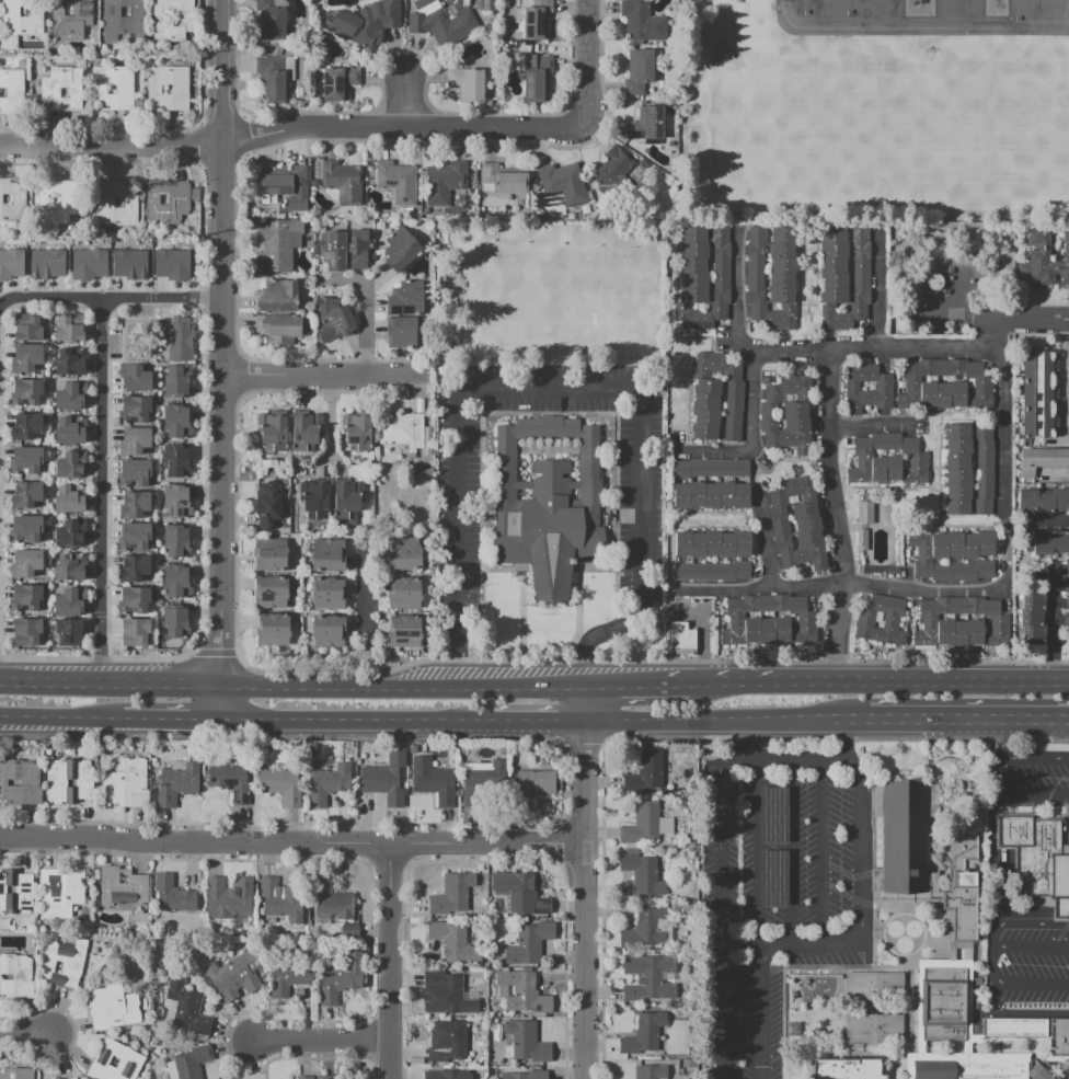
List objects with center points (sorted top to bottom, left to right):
park: (1031, 0)
building: (391, 5)
building: (423, 5)
park: (825, 13)
building: (71, 18)
park: (1041, 19)
building: (19, 20)
building: (272, 20)
building: (123, 21)
building: (173, 21)
building: (538, 21)
building: (642, 22)
building: (447, 26)
building: (366, 27)
road: (915, 28)
road: (589, 61)
building: (640, 72)
building: (538, 78)
building: (272, 79)
building: (340, 83)
building: (469, 84)
building: (114, 88)
building: (170, 89)
building: (62, 91)
building: (12, 93)
road: (404, 101)
park: (869, 117)
building: (648, 125)
road: (290, 130)
park: (966, 142)
building: (618, 171)
building: (395, 181)
building: (505, 181)
building: (281, 183)
building: (343, 183)
building: (446, 183)
building: (564, 183)
building: (11, 199)
building: (58, 200)
building: (169, 203)
building: (116, 206)
building: (276, 244)
building: (358, 249)
building: (331, 250)
building: (399, 251)
building: (1042, 260)
building: (11, 263)
building: (46, 264)
building: (88, 264)
building: (129, 264)
building: (171, 264)
building: (771, 275)
building: (703, 276)
building: (844, 276)
building: (276, 295)
road: (108, 298)
building: (405, 300)
road: (367, 315)
road: (1030, 319)
building: (337, 322)
building: (277, 325)
building: (27, 330)
building: (67, 330)
building: (403, 333)
building: (128, 336)
building: (177, 338)
road: (219, 342)
road: (746, 345)
road: (790, 353)
building: (25, 357)
building: (69, 361)
road: (318, 375)
road: (1062, 378)
building: (136, 379)
building: (174, 382)
building: (883, 384)
building: (943, 384)
road: (540, 386)
building: (26, 391)
building: (716, 394)
building: (1036, 394)
building: (69, 395)
building: (136, 409)
building: (785, 414)
road: (331, 423)
building: (27, 424)
building: (175, 424)
road: (828, 424)
road: (867, 425)
road: (1003, 425)
building: (69, 431)
building: (402, 431)
building: (302, 433)
building: (274, 434)
building: (357, 434)
building: (135, 441)
road: (719, 452)
building: (25, 459)
road: (337, 459)
building: (887, 459)
building: (1042, 459)
building: (174, 461)
building: (68, 464)
building: (711, 467)
building: (957, 469)
building: (984, 469)
building: (136, 472)
building: (419, 477)
road: (100, 489)
building: (294, 490)
building: (25, 494)
building: (711, 495)
building: (68, 500)
building: (315, 501)
building: (345, 501)
building: (265, 502)
building: (1043, 502)
building: (176, 503)
building: (138, 505)
building: (547, 506)
parking lot: (640, 506)
building: (864, 513)
road: (1045, 520)
building: (795, 521)
building: (25, 528)
building: (283, 530)
building: (68, 533)
building: (137, 535)
building: (292, 539)
road: (766, 539)
building: (862, 539)
building: (1050, 542)
building: (175, 543)
building: (712, 544)
building: (403, 554)
building: (951, 554)
building: (327, 556)
building: (272, 559)
building: (25, 563)
building: (69, 567)
building: (135, 567)
building: (710, 571)
road: (843, 581)
building: (175, 583)
building: (273, 593)
building: (406, 593)
building: (326, 594)
building: (26, 596)
building: (134, 600)
building: (1068, 601)
building: (68, 602)
road: (368, 604)
building: (1032, 619)
building: (767, 620)
building: (878, 620)
building: (174, 622)
building: (959, 622)
road: (1053, 624)
building: (273, 630)
building: (25, 631)
building: (327, 631)
building: (67, 632)
building: (135, 632)
road: (596, 632)
building: (407, 633)
building: (682, 635)
road: (458, 647)
road: (359, 668)
road: (376, 669)
road: (110, 681)
road: (786, 681)
road: (953, 681)
road: (717, 682)
road: (643, 684)
road: (286, 685)
road: (521, 685)
road: (404, 686)
road: (220, 704)
road: (67, 722)
road: (958, 723)
road: (176, 724)
road: (287, 724)
road: (418, 724)
road: (533, 724)
road: (715, 724)
road: (996, 739)
road: (744, 742)
road: (848, 742)
road: (781, 760)
road: (584, 764)
building: (645, 772)
road: (997, 776)
building: (181, 779)
building: (68, 781)
building: (230, 781)
building: (481, 781)
building: (19, 782)
building: (125, 783)
building: (329, 783)
building: (435, 783)
building: (382, 784)
building: (532, 785)
building: (281, 787)
building: (772, 815)
building: (643, 824)
road: (195, 842)
road: (487, 843)
building: (904, 843)
building: (632, 850)
road: (820, 851)
road: (756, 852)
road: (790, 852)
building: (1037, 859)
building: (642, 873)
building: (772, 877)
building: (963, 884)
building: (123, 885)
building: (60, 886)
building: (15, 891)
building: (451, 894)
building: (520, 894)
parking lot: (772, 894)
building: (172, 895)
building: (227, 898)
building: (278, 899)
building: (332, 900)
road: (717, 919)
road: (859, 920)
road: (1023, 923)
building: (651, 927)
building: (349, 930)
building: (508, 937)
building: (452, 941)
building: (528, 943)
road: (1030, 943)
building: (497, 952)
building: (65, 960)
road: (392, 961)
road: (585, 961)
building: (15, 975)
building: (233, 975)
building: (646, 976)
building: (288, 977)
building: (341, 977)
road: (1012, 983)
building: (873, 987)
building: (447, 990)
building: (520, 991)
building: (943, 1001)
building: (185, 1005)
building: (171, 1006)
building: (113, 1009)
road: (759, 1012)
road: (25, 1031)
building: (496, 1031)
building: (875, 1031)
building: (1028, 1032)
building: (643, 1033)
road: (320, 1038)
building: (527, 1042)
building: (449, 1043)
building: (507, 1052)
building: (652, 1052)
building: (191, 1061)
building: (114, 1063)
building: (685, 1064)
building: (967, 1066)
building: (171, 1069)
building: (847, 1070)
building: (650, 1071)
building: (15, 1072)
building: (445, 1075)
building: (526, 1075)
building: (1044, 1075)
building: (329, 1077)
building: (71, 1078)
building: (302, 1078)

